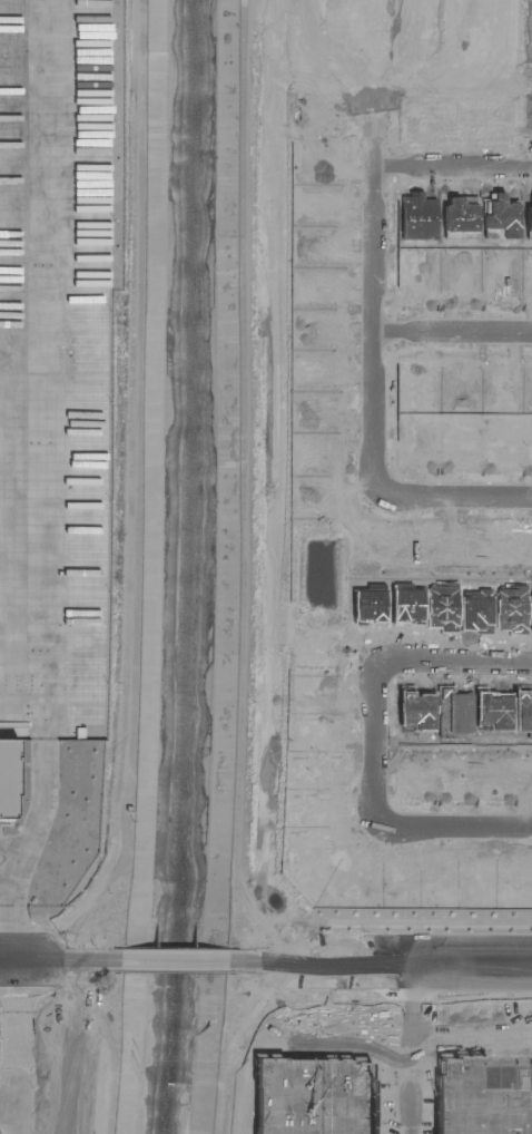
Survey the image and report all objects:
road: (372, 81)
road: (452, 164)
road: (368, 321)
road: (450, 331)
road: (57, 448)
road: (456, 489)
road: (453, 651)
road: (374, 739)
building: (9, 763)
road: (456, 820)
road: (13, 848)
road: (7, 890)
road: (13, 926)
road: (60, 961)
road: (175, 962)
road: (380, 964)
road: (414, 1033)
road: (13, 1047)
road: (397, 1048)
building: (483, 1094)
building: (312, 1096)
road: (7, 1106)

